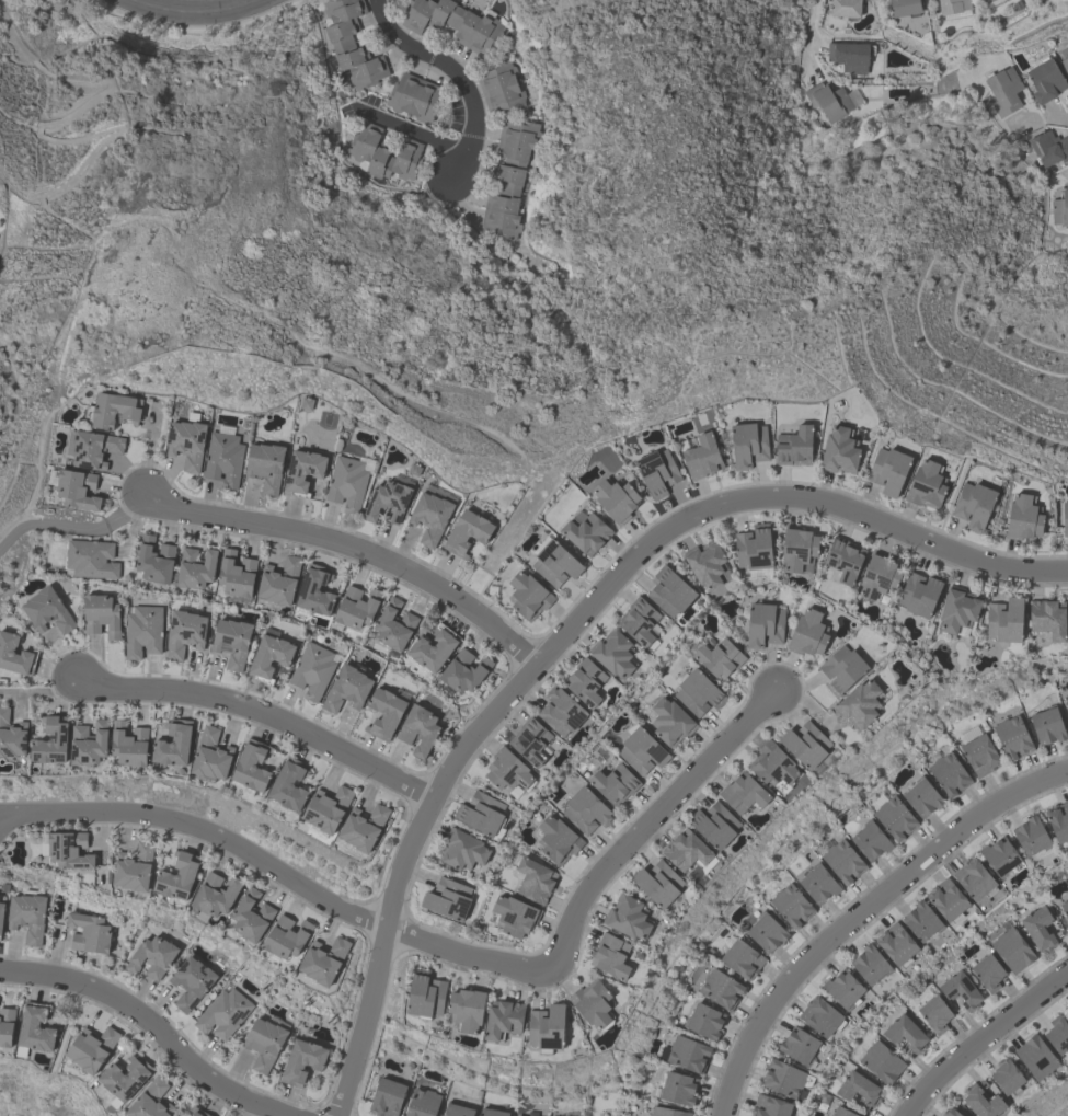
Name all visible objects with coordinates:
building: (985, 1)
building: (953, 5)
building: (904, 7)
building: (845, 8)
road: (191, 11)
building: (453, 22)
road: (812, 33)
building: (351, 43)
building: (1067, 54)
building: (850, 56)
building: (1065, 64)
road: (456, 71)
building: (1045, 80)
building: (499, 87)
building: (1003, 90)
building: (413, 96)
building: (828, 100)
road: (1043, 120)
road: (414, 131)
building: (1048, 148)
building: (382, 151)
building: (507, 177)
building: (1059, 207)
building: (112, 410)
building: (186, 442)
building: (748, 444)
building: (794, 446)
building: (94, 448)
building: (839, 449)
building: (701, 457)
building: (222, 458)
building: (265, 465)
building: (888, 470)
building: (302, 471)
building: (657, 472)
building: (346, 482)
building: (926, 485)
building: (76, 488)
building: (389, 499)
building: (616, 499)
building: (974, 505)
building: (432, 513)
building: (1023, 517)
building: (1065, 518)
road: (72, 525)
building: (467, 532)
building: (586, 532)
road: (355, 544)
building: (754, 548)
building: (797, 549)
building: (90, 559)
building: (843, 559)
building: (154, 560)
building: (554, 563)
building: (708, 564)
building: (195, 568)
building: (237, 576)
building: (878, 577)
building: (278, 582)
building: (315, 590)
building: (669, 591)
building: (920, 594)
building: (528, 595)
building: (357, 607)
building: (46, 610)
building: (957, 612)
building: (101, 614)
building: (1048, 618)
building: (1006, 621)
road: (571, 623)
building: (640, 623)
building: (394, 624)
building: (763, 624)
building: (141, 631)
building: (184, 632)
building: (808, 633)
building: (232, 642)
building: (434, 648)
building: (613, 653)
building: (15, 655)
building: (269, 656)
building: (719, 658)
building: (312, 669)
building: (841, 669)
building: (463, 671)
building: (585, 681)
building: (346, 688)
road: (39, 691)
building: (698, 692)
building: (1066, 702)
building: (860, 704)
road: (263, 711)
building: (561, 711)
building: (384, 713)
building: (670, 722)
building: (1047, 723)
building: (418, 729)
building: (12, 736)
building: (1012, 737)
building: (51, 740)
building: (530, 740)
building: (89, 744)
building: (174, 744)
building: (805, 744)
building: (129, 745)
building: (641, 751)
building: (978, 751)
building: (211, 756)
building: (773, 767)
building: (251, 769)
building: (508, 772)
building: (949, 773)
building: (613, 783)
building: (289, 785)
building: (744, 794)
building: (922, 796)
building: (328, 809)
building: (585, 810)
building: (481, 813)
building: (894, 817)
building: (1058, 820)
building: (714, 825)
building: (363, 828)
road: (202, 831)
building: (1031, 836)
building: (558, 839)
building: (870, 840)
building: (67, 850)
building: (462, 850)
building: (686, 851)
building: (1001, 856)
building: (842, 861)
building: (134, 867)
building: (177, 876)
building: (535, 879)
building: (974, 879)
building: (818, 883)
building: (658, 884)
road: (601, 890)
building: (215, 896)
building: (448, 899)
building: (948, 900)
building: (791, 904)
building: (1065, 910)
road: (862, 911)
building: (27, 914)
building: (1, 916)
building: (514, 916)
building: (252, 917)
building: (628, 917)
building: (921, 921)
building: (1037, 928)
building: (766, 931)
building: (89, 933)
building: (286, 937)
building: (896, 944)
building: (1012, 950)
building: (151, 956)
building: (611, 956)
building: (742, 958)
building: (323, 960)
building: (870, 964)
building: (987, 971)
building: (191, 982)
building: (720, 988)
building: (843, 989)
building: (961, 990)
building: (425, 996)
building: (594, 1004)
building: (1067, 1008)
building: (467, 1010)
building: (222, 1013)
building: (934, 1013)
building: (820, 1017)
building: (503, 1019)
building: (703, 1021)
road: (149, 1026)
building: (7, 1027)
building: (547, 1028)
building: (35, 1032)
building: (905, 1033)
building: (1057, 1035)
building: (264, 1043)
road: (985, 1043)
building: (800, 1047)
building: (92, 1049)
building: (686, 1052)
building: (1035, 1057)
building: (881, 1061)
building: (302, 1062)
building: (1007, 1077)
building: (785, 1079)
building: (124, 1080)
building: (677, 1089)
building: (858, 1090)
building: (387, 1097)
building: (150, 1101)
building: (983, 1101)
building: (423, 1103)
building: (769, 1106)
building: (457, 1111)
building: (197, 1112)
building: (667, 1112)
building: (842, 1112)
building: (492, 1113)
building: (950, 1113)
building: (552, 1115)

